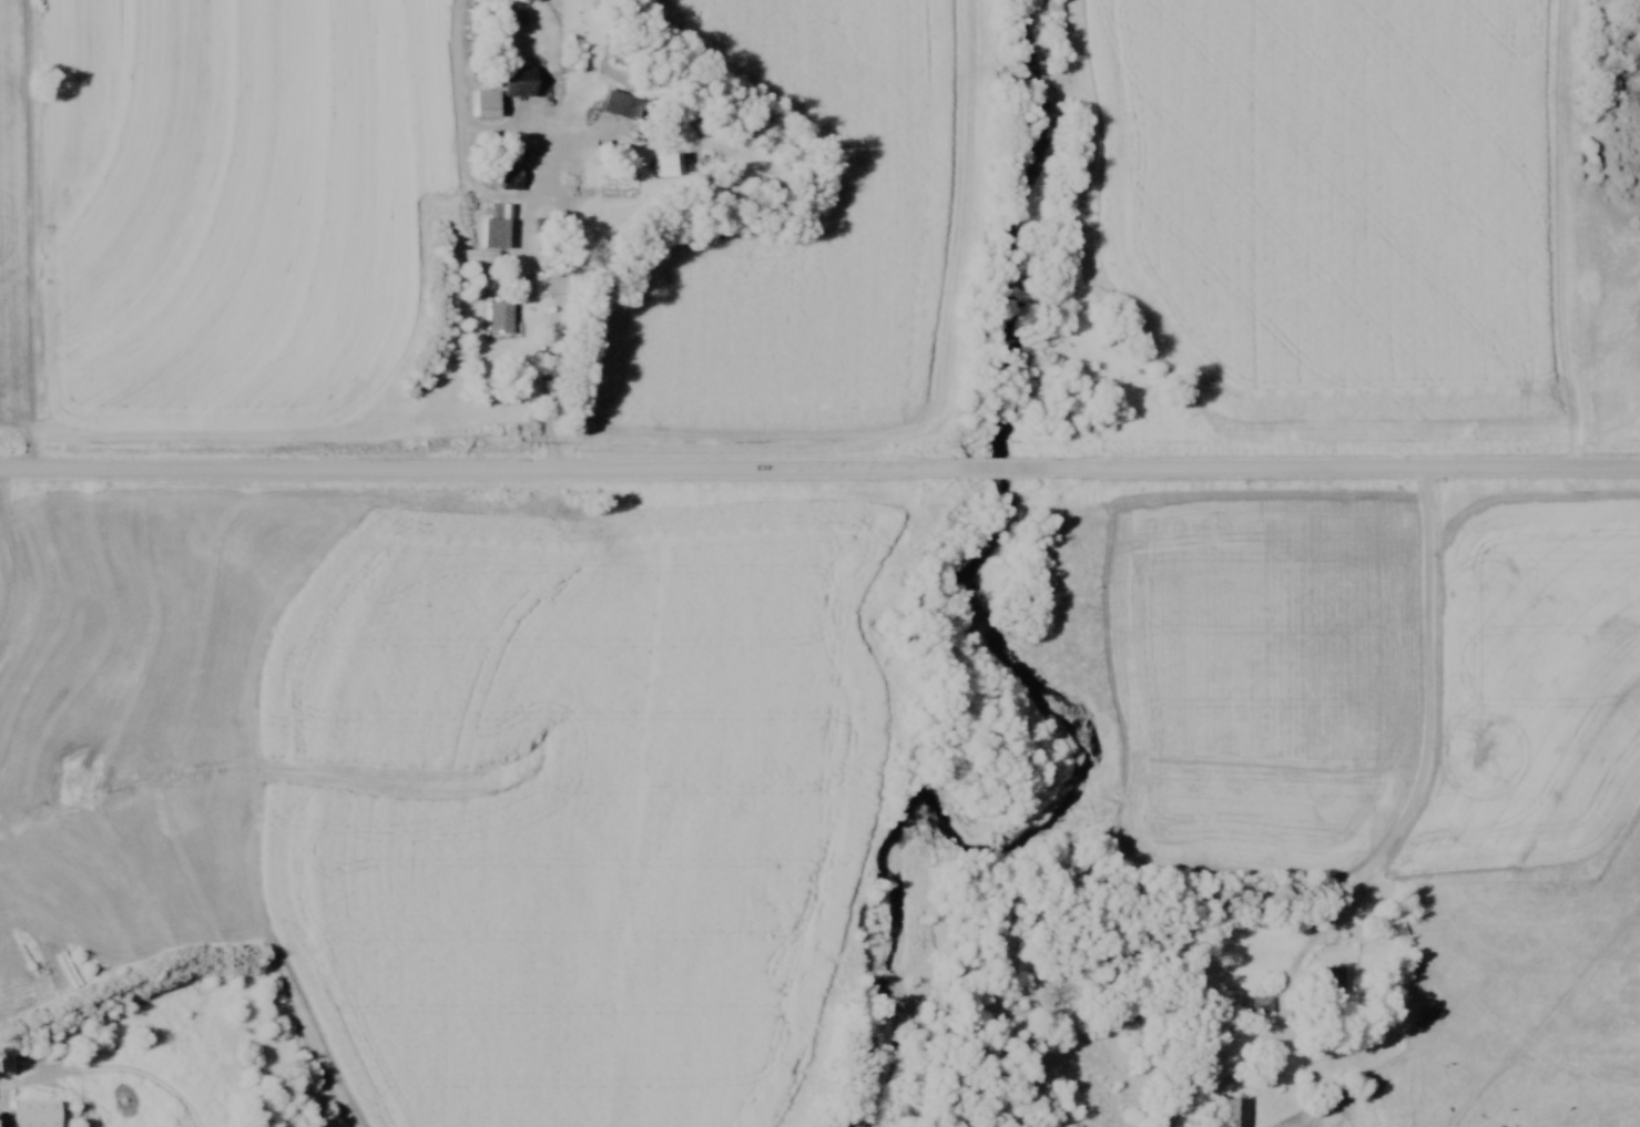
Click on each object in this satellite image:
building: (512, 78)
building: (615, 102)
building: (662, 160)
building: (506, 165)
building: (486, 235)
road: (560, 303)
building: (495, 315)
road: (1347, 464)
road: (473, 467)
road: (1001, 467)
road: (19, 577)
road: (1428, 754)
building: (1323, 977)
building: (1256, 1002)
building: (29, 1111)
building: (1232, 1111)

